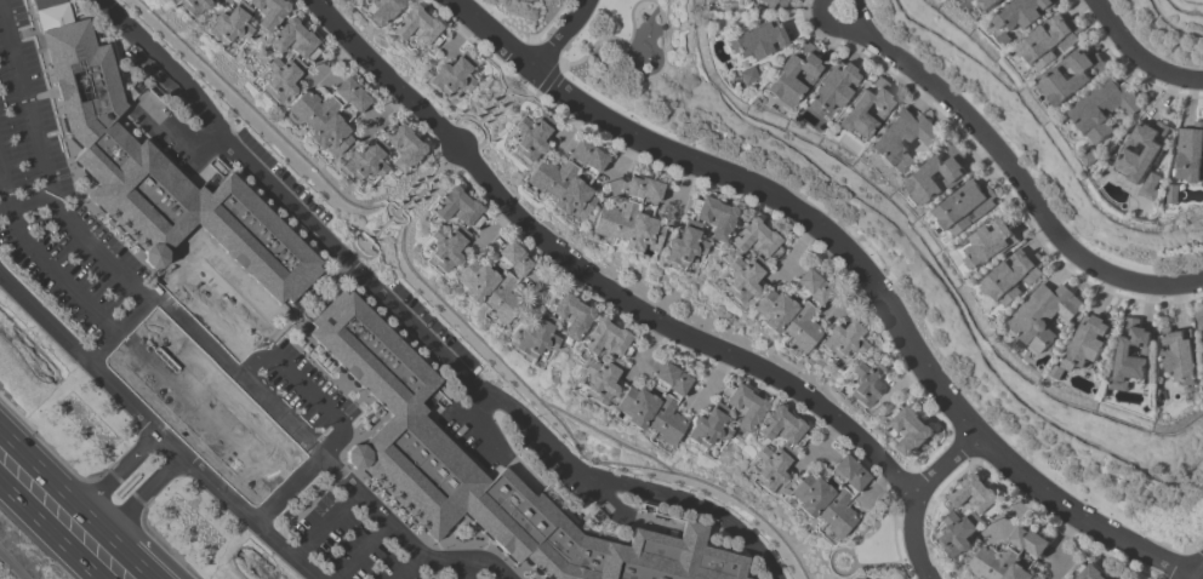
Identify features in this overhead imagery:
building: (772, 2)
building: (990, 4)
building: (192, 6)
building: (382, 10)
building: (267, 12)
building: (1024, 12)
building: (228, 24)
building: (416, 25)
road: (838, 29)
road: (564, 36)
building: (1005, 38)
building: (292, 39)
building: (757, 39)
building: (1050, 39)
road: (1142, 52)
park: (632, 64)
building: (1073, 74)
building: (452, 75)
building: (746, 75)
building: (793, 75)
building: (276, 76)
building: (829, 87)
building: (353, 102)
building: (318, 104)
building: (1104, 108)
building: (865, 110)
building: (329, 134)
building: (529, 136)
building: (902, 138)
building: (401, 144)
building: (1142, 150)
building: (1191, 153)
building: (1093, 156)
building: (364, 161)
building: (589, 162)
building: (555, 170)
road: (45, 172)
building: (937, 176)
building: (161, 177)
road: (1020, 177)
building: (1152, 185)
building: (649, 193)
building: (1174, 193)
building: (571, 197)
road: (25, 202)
building: (965, 205)
building: (457, 207)
building: (617, 212)
building: (712, 216)
building: (640, 233)
building: (756, 239)
building: (991, 242)
building: (684, 245)
building: (443, 246)
building: (504, 254)
road: (855, 260)
road: (44, 263)
building: (1014, 275)
road: (595, 276)
building: (740, 276)
building: (473, 280)
building: (803, 282)
building: (503, 291)
building: (772, 309)
road: (138, 311)
road: (262, 311)
building: (569, 313)
building: (1044, 314)
building: (1199, 317)
building: (803, 319)
road: (409, 326)
building: (536, 337)
building: (606, 338)
building: (844, 338)
road: (272, 339)
building: (1088, 340)
road: (298, 348)
building: (1131, 354)
building: (1180, 354)
parking lot: (194, 357)
building: (1057, 372)
road: (238, 374)
building: (661, 376)
building: (598, 378)
building: (865, 380)
building: (741, 405)
building: (634, 406)
road: (358, 407)
road: (201, 411)
building: (666, 411)
road: (154, 426)
building: (781, 426)
building: (707, 428)
building: (912, 428)
building: (401, 431)
building: (768, 465)
road: (40, 468)
road: (119, 469)
building: (839, 469)
road: (303, 470)
building: (808, 493)
building: (977, 494)
road: (317, 495)
road: (917, 499)
road: (327, 503)
building: (838, 504)
road: (130, 517)
road: (324, 523)
road: (49, 529)
building: (959, 532)
road: (403, 539)
road: (118, 543)
building: (1036, 548)
road: (358, 550)
building: (1002, 555)
road: (404, 566)
road: (11, 567)
road: (469, 568)
building: (1019, 572)
building: (1088, 572)
road: (1202, 577)
building: (1067, 578)

